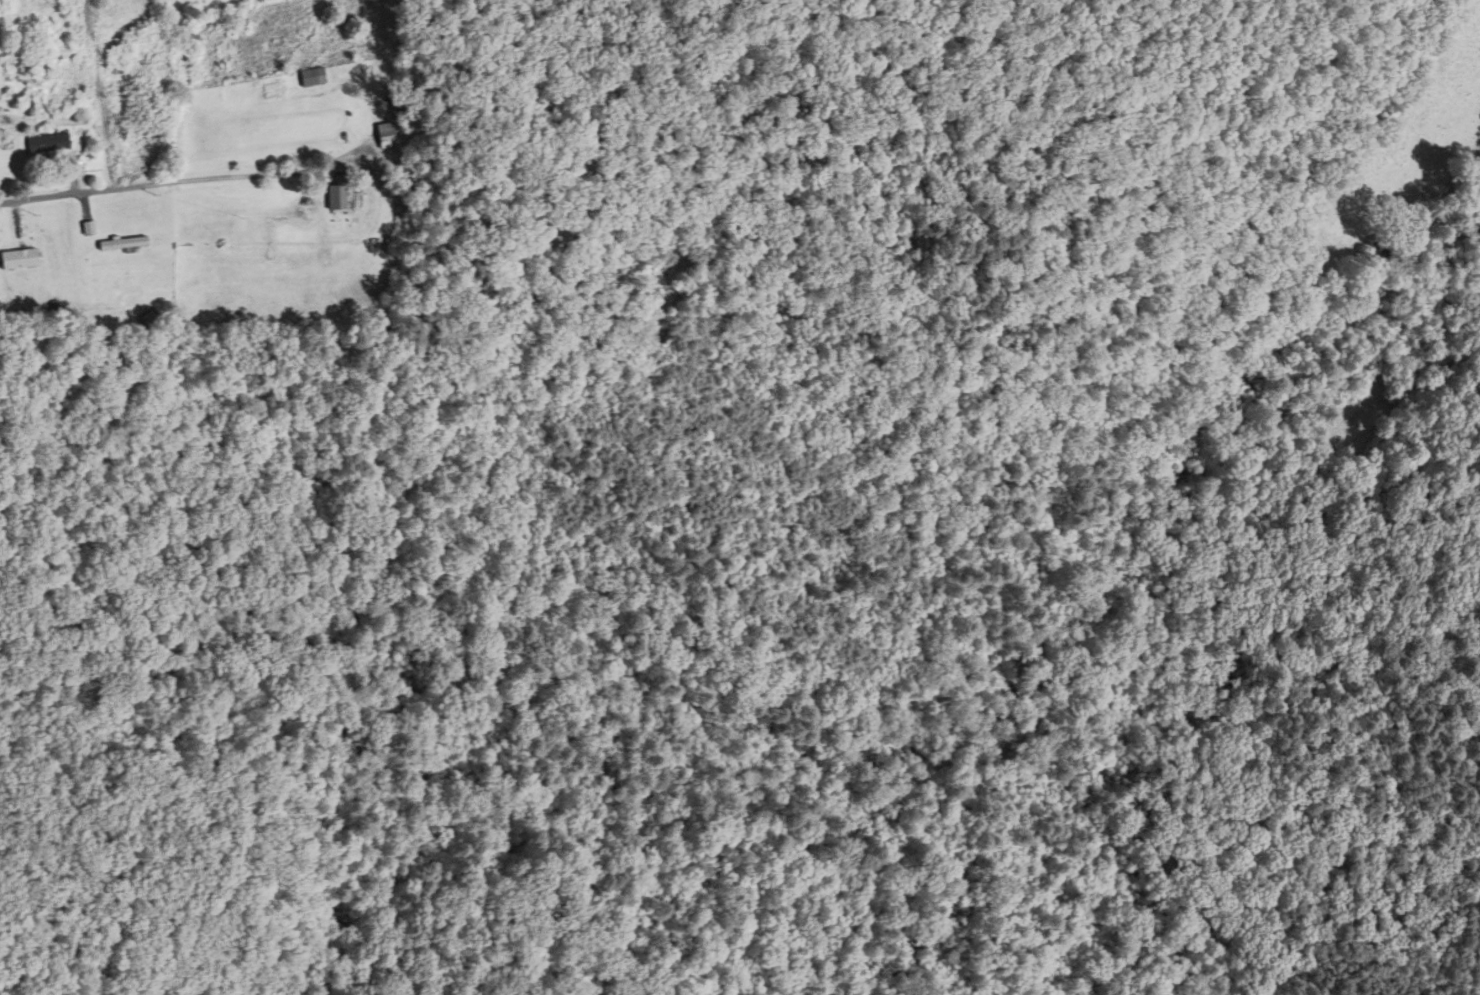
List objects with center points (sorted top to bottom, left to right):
building: (311, 76)
building: (386, 135)
building: (39, 143)
road: (267, 174)
road: (84, 192)
building: (336, 196)
building: (118, 243)
building: (18, 259)

